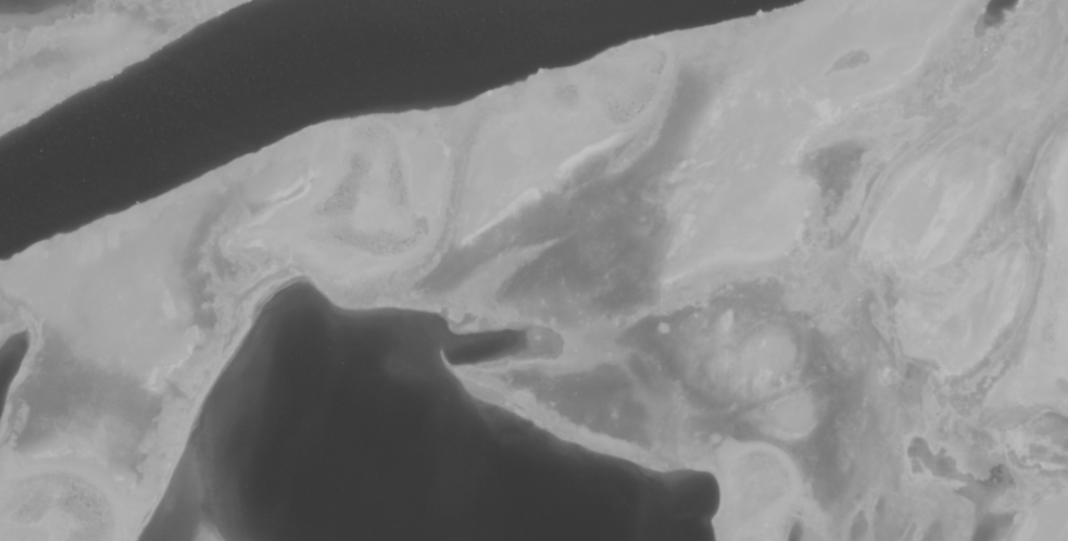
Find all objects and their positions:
power plant: (533, 270)

